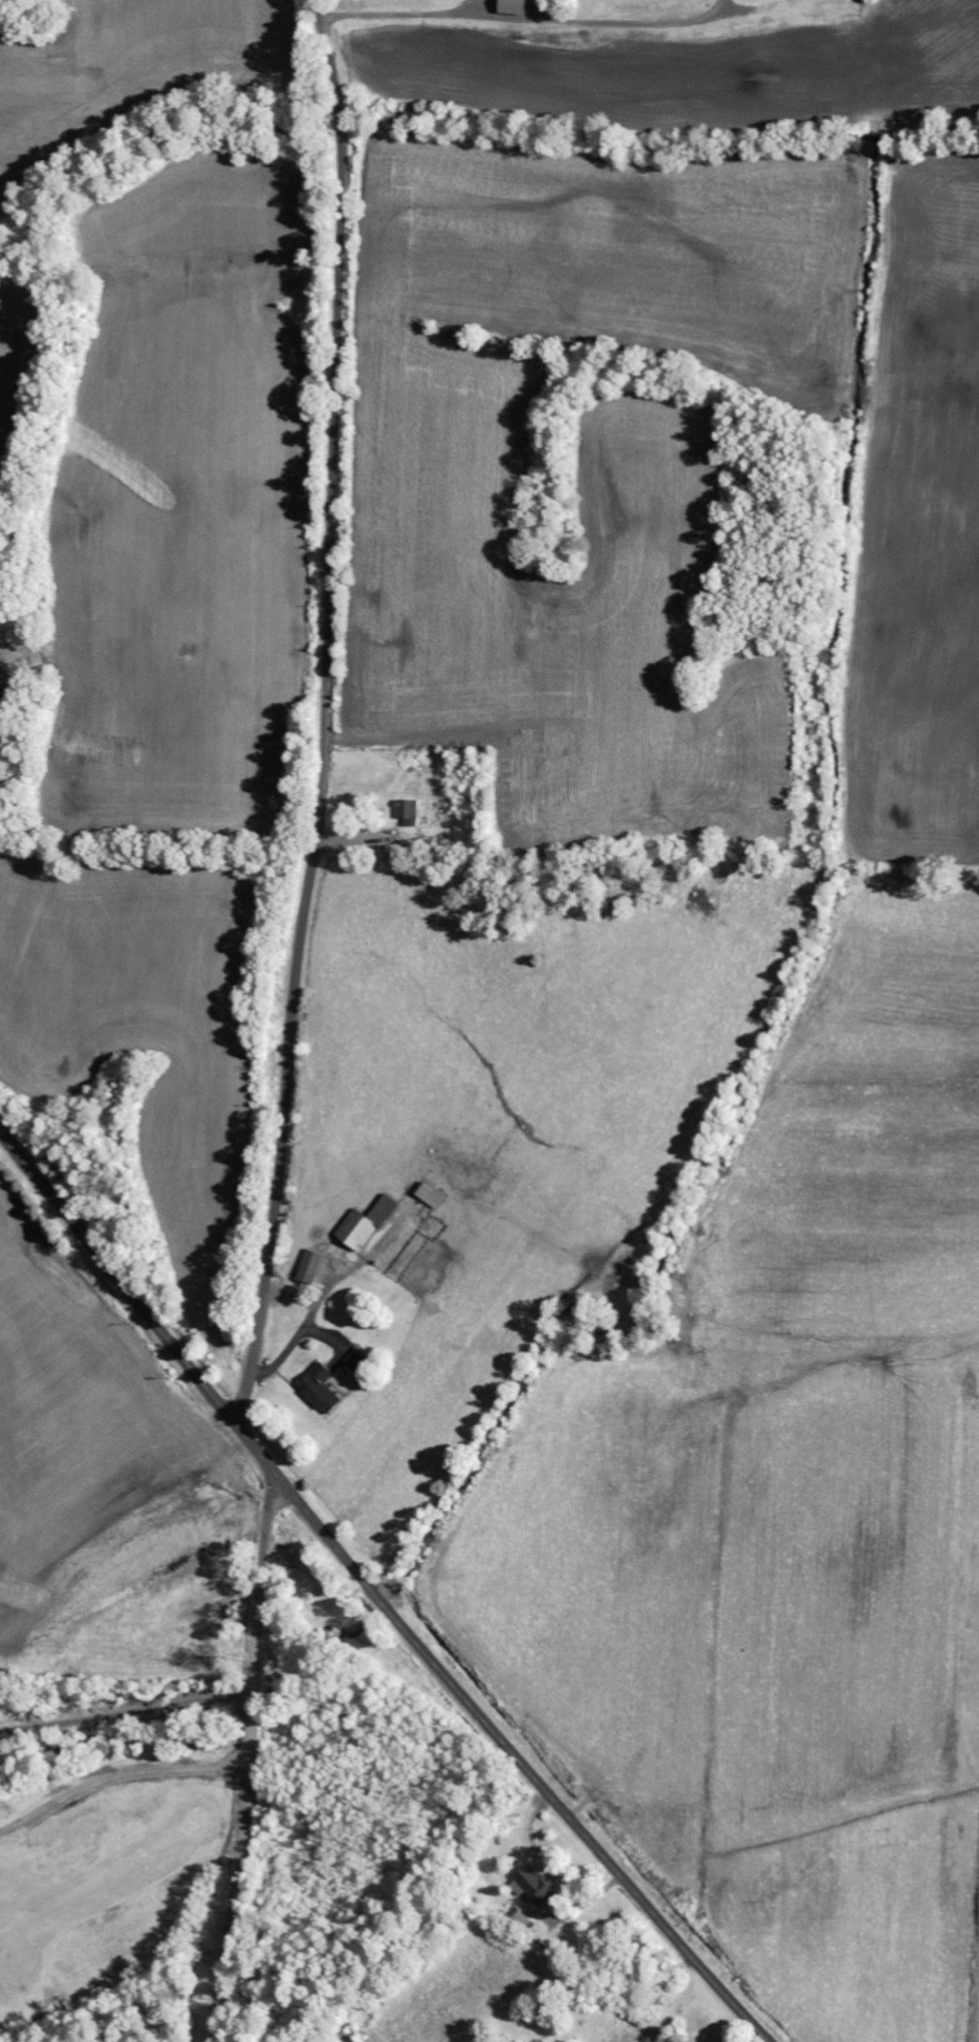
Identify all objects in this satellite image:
building: (511, 7)
road: (321, 712)
building: (406, 812)
building: (364, 1225)
building: (309, 1267)
building: (356, 1360)
building: (318, 1388)
road: (374, 1596)
road: (250, 1759)
road: (118, 1775)
airport runway: (97, 1880)
building: (531, 1886)
building: (519, 1918)

